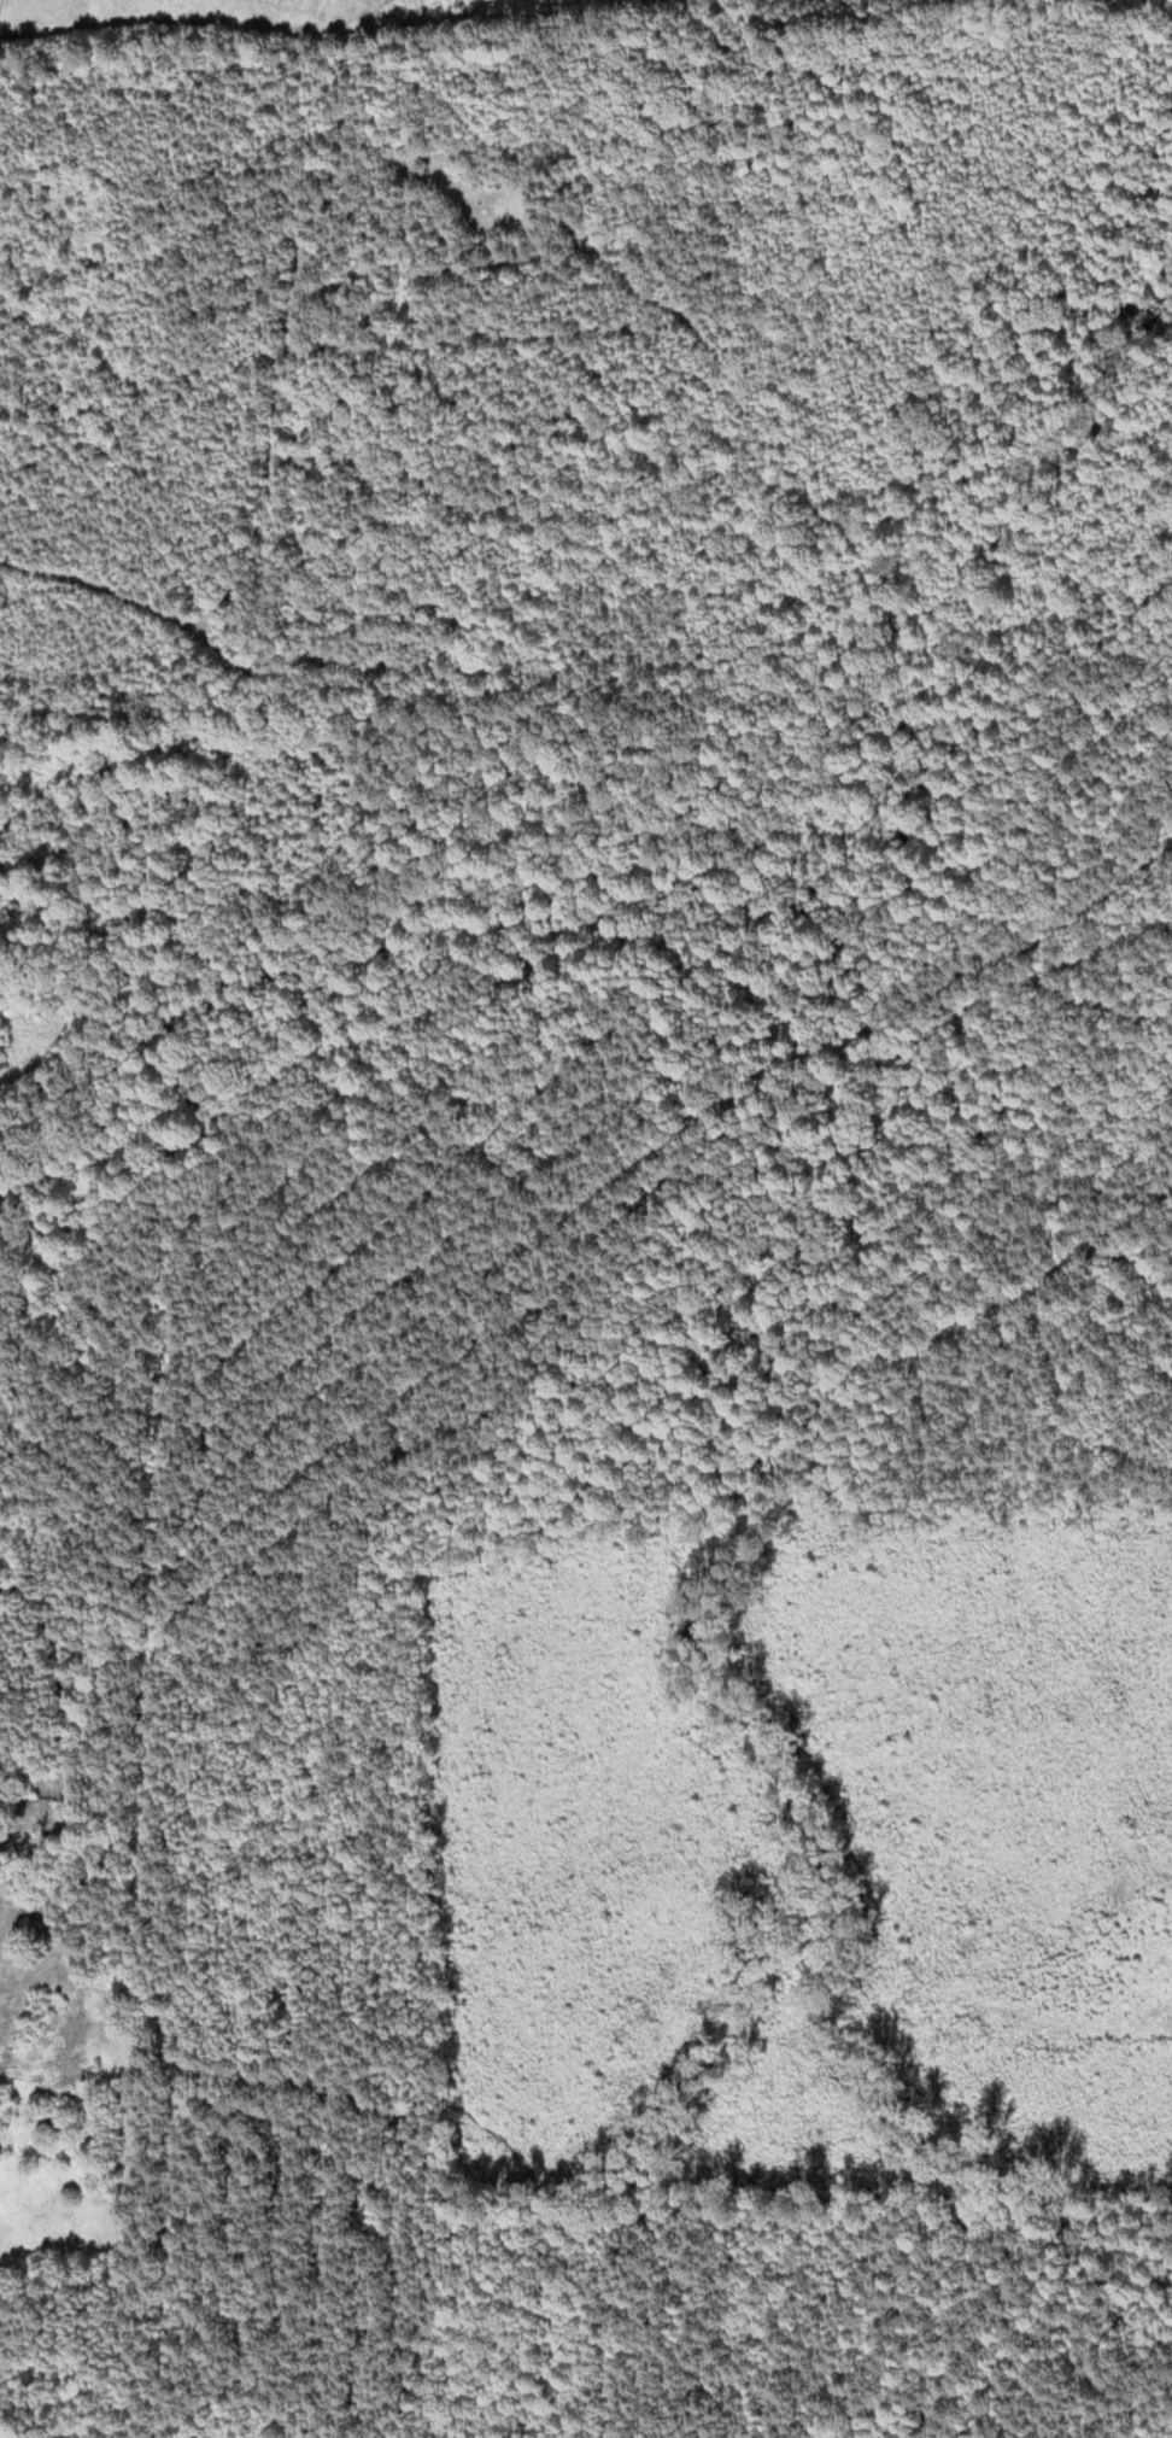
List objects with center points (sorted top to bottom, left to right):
building: (48, 2122)

